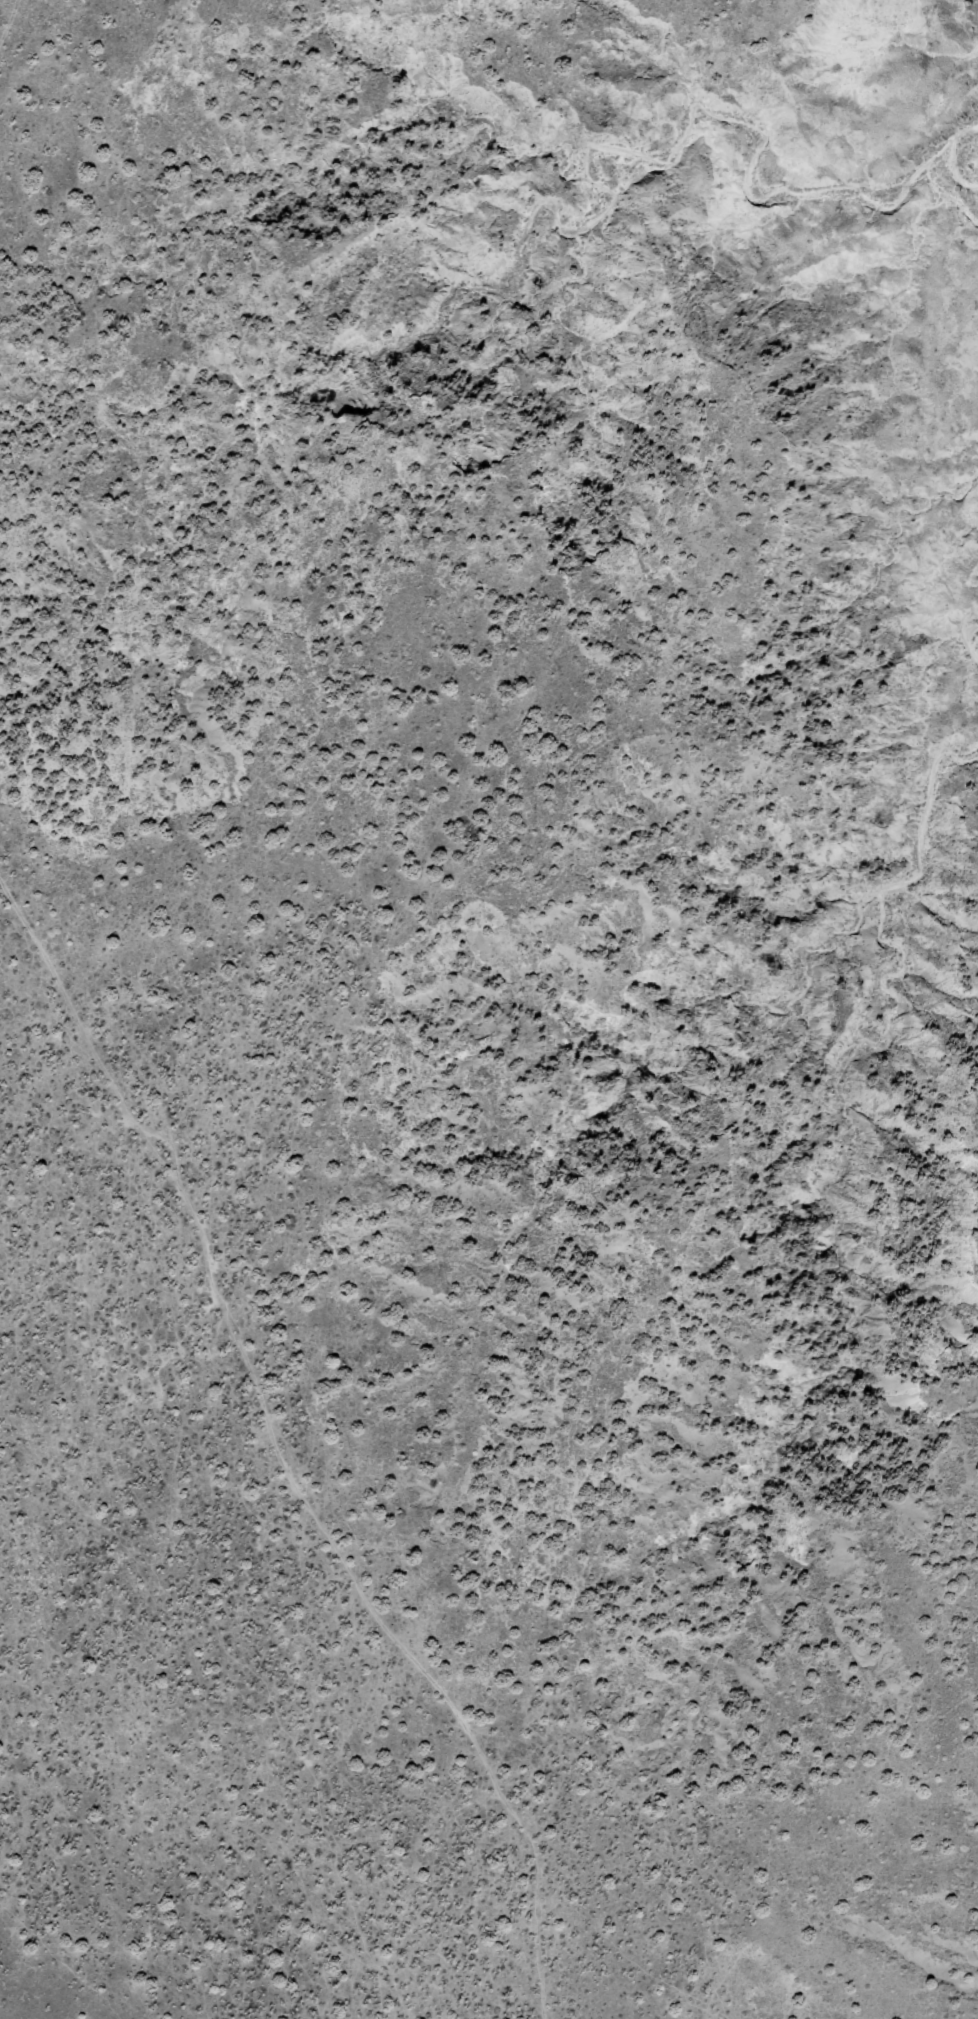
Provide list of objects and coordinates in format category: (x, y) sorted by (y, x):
road: (267, 1465)
road: (46, 1981)

